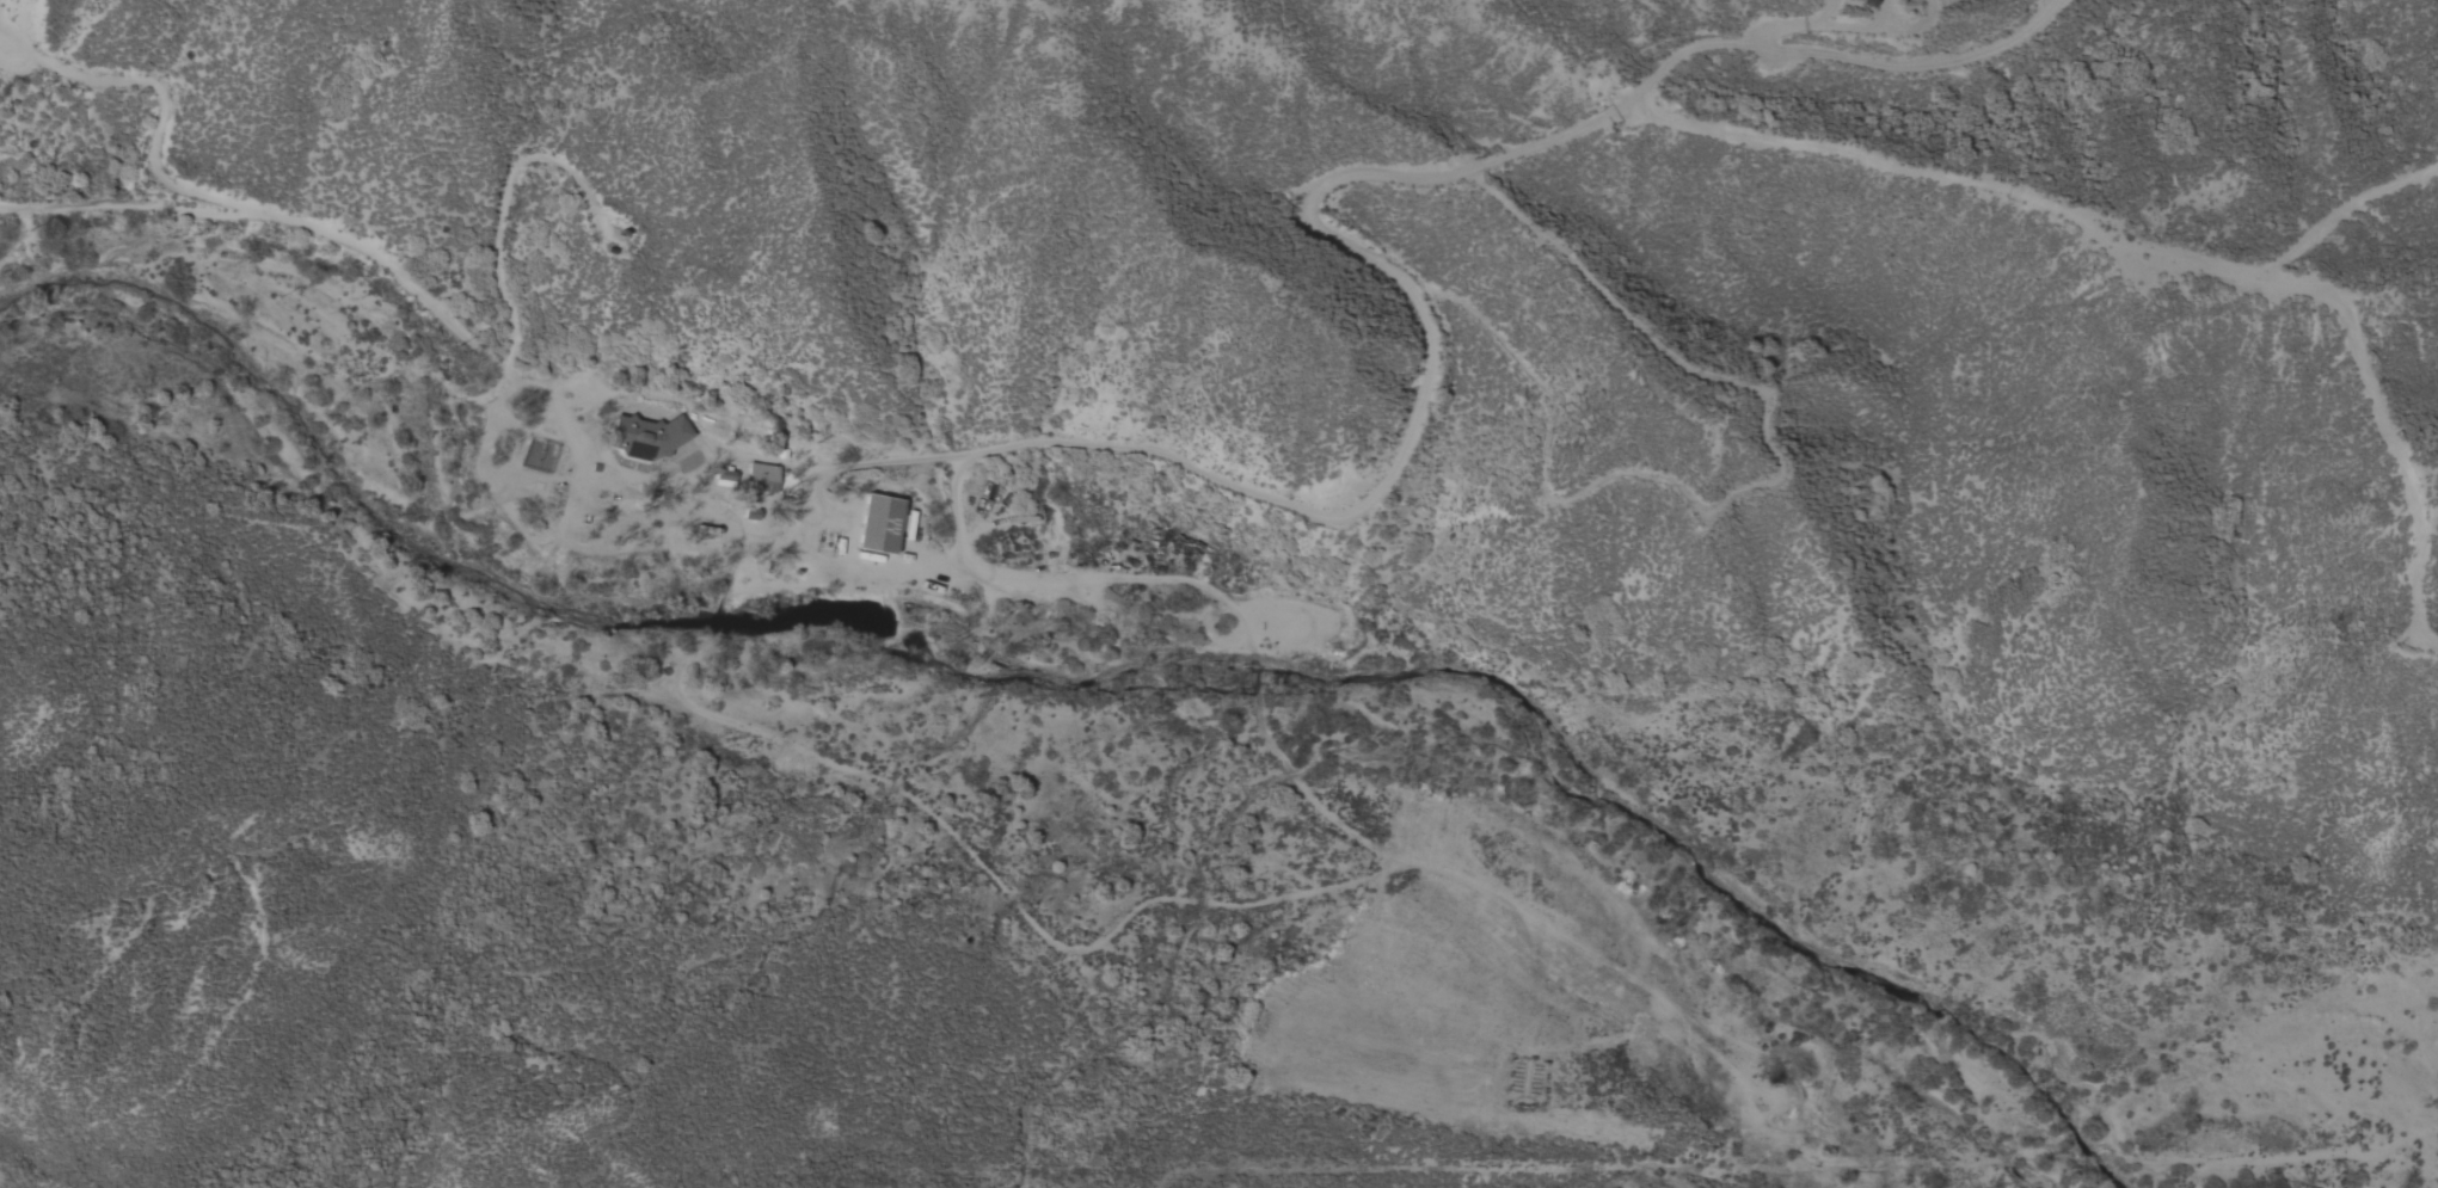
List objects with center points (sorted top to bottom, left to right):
road: (1828, 27)
road: (1674, 60)
road: (498, 198)
road: (840, 455)
building: (884, 523)
road: (977, 567)

